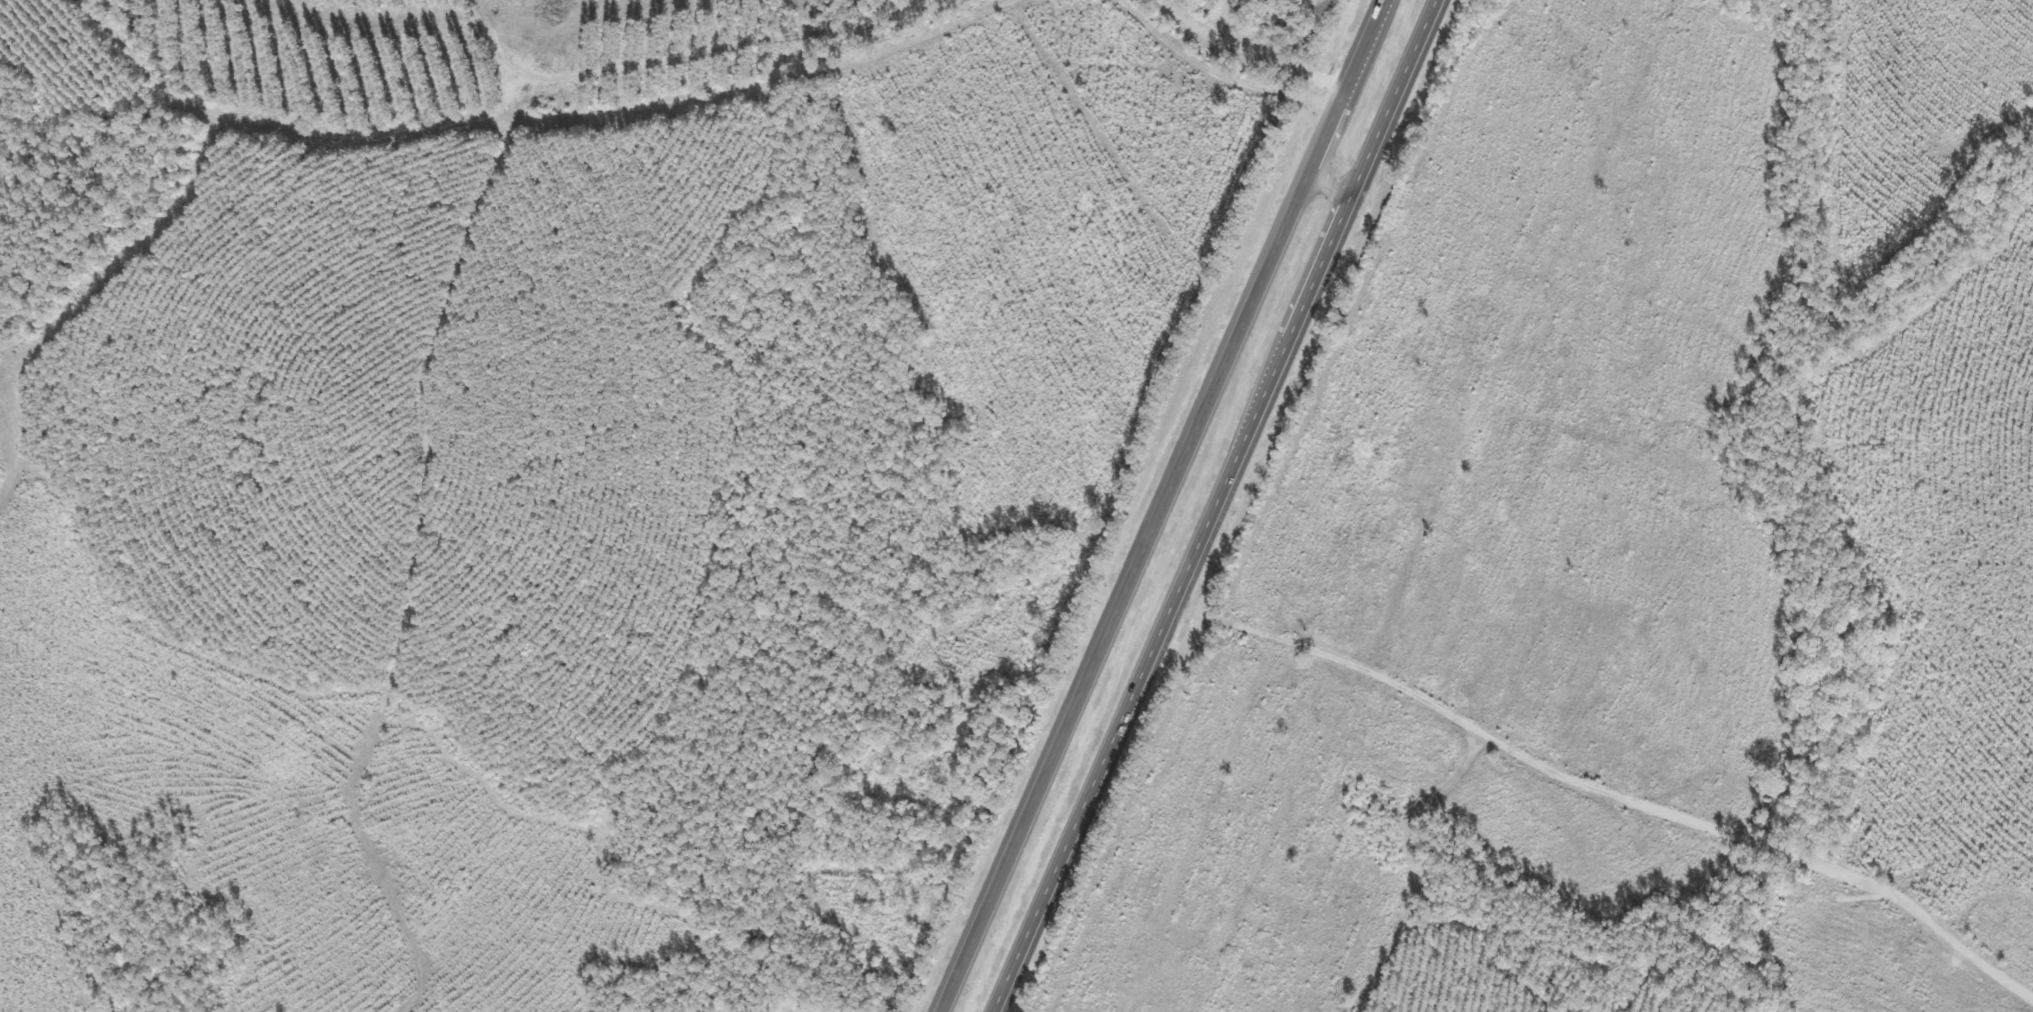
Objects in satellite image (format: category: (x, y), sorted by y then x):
road: (1327, 181)
road: (1214, 504)
road: (1157, 505)
road: (1602, 802)

